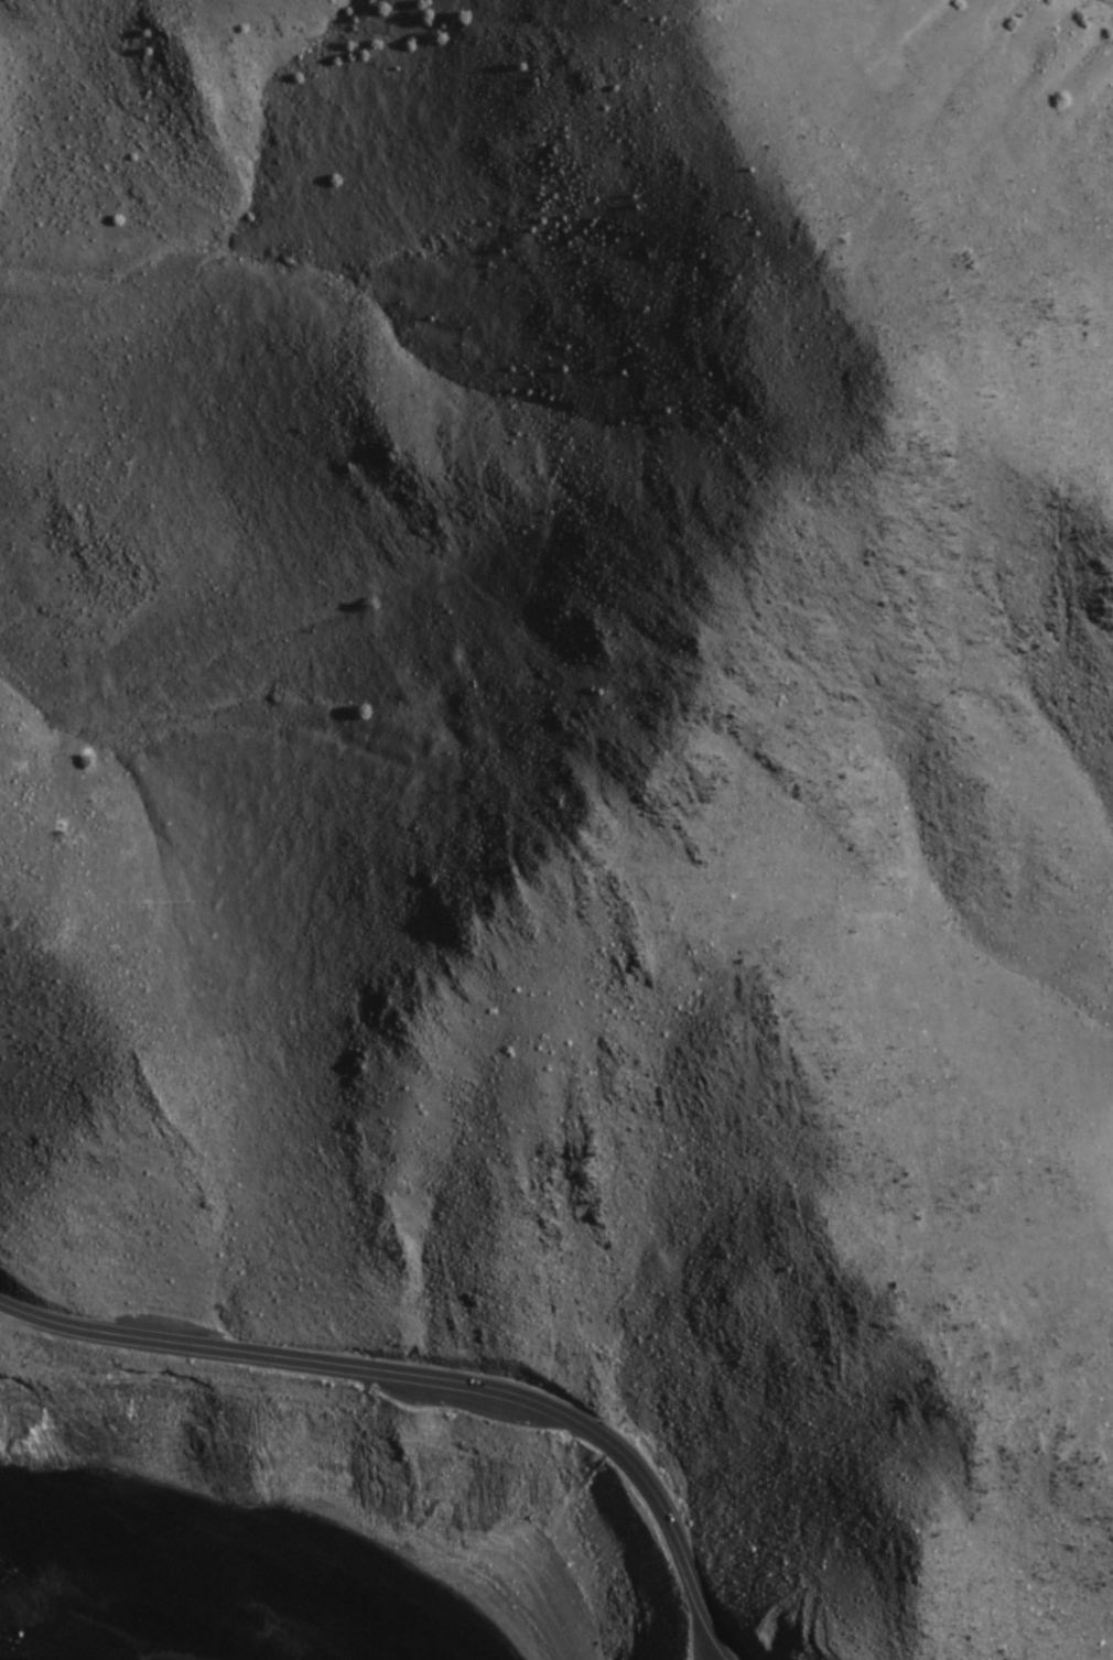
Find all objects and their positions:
road: (434, 1379)

